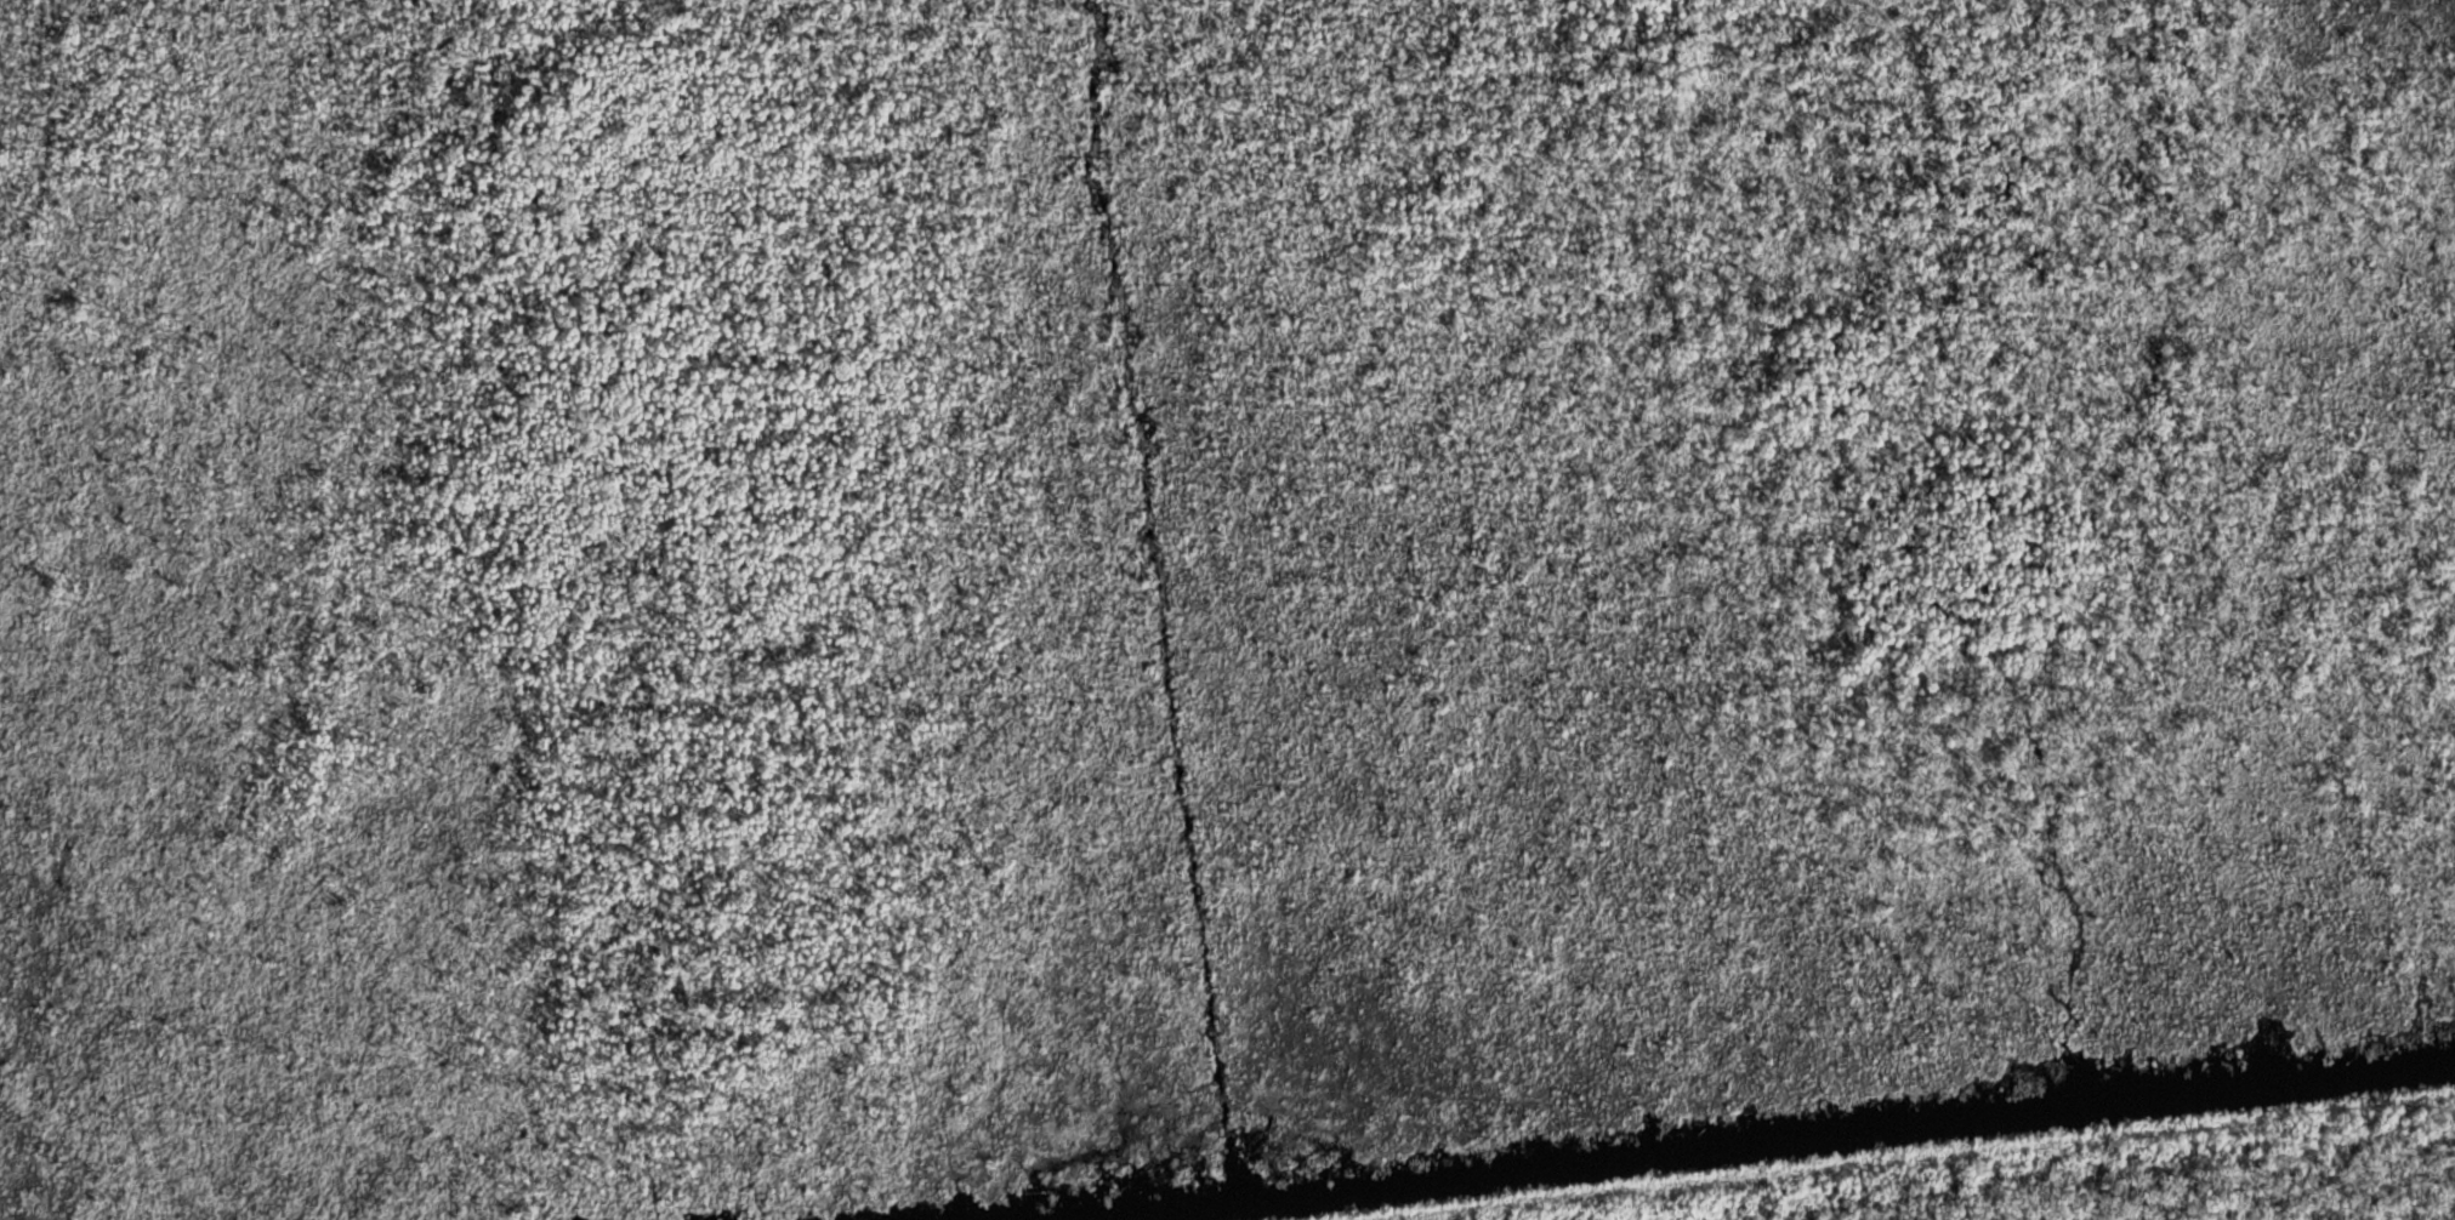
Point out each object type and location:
road: (1949, 1161)

